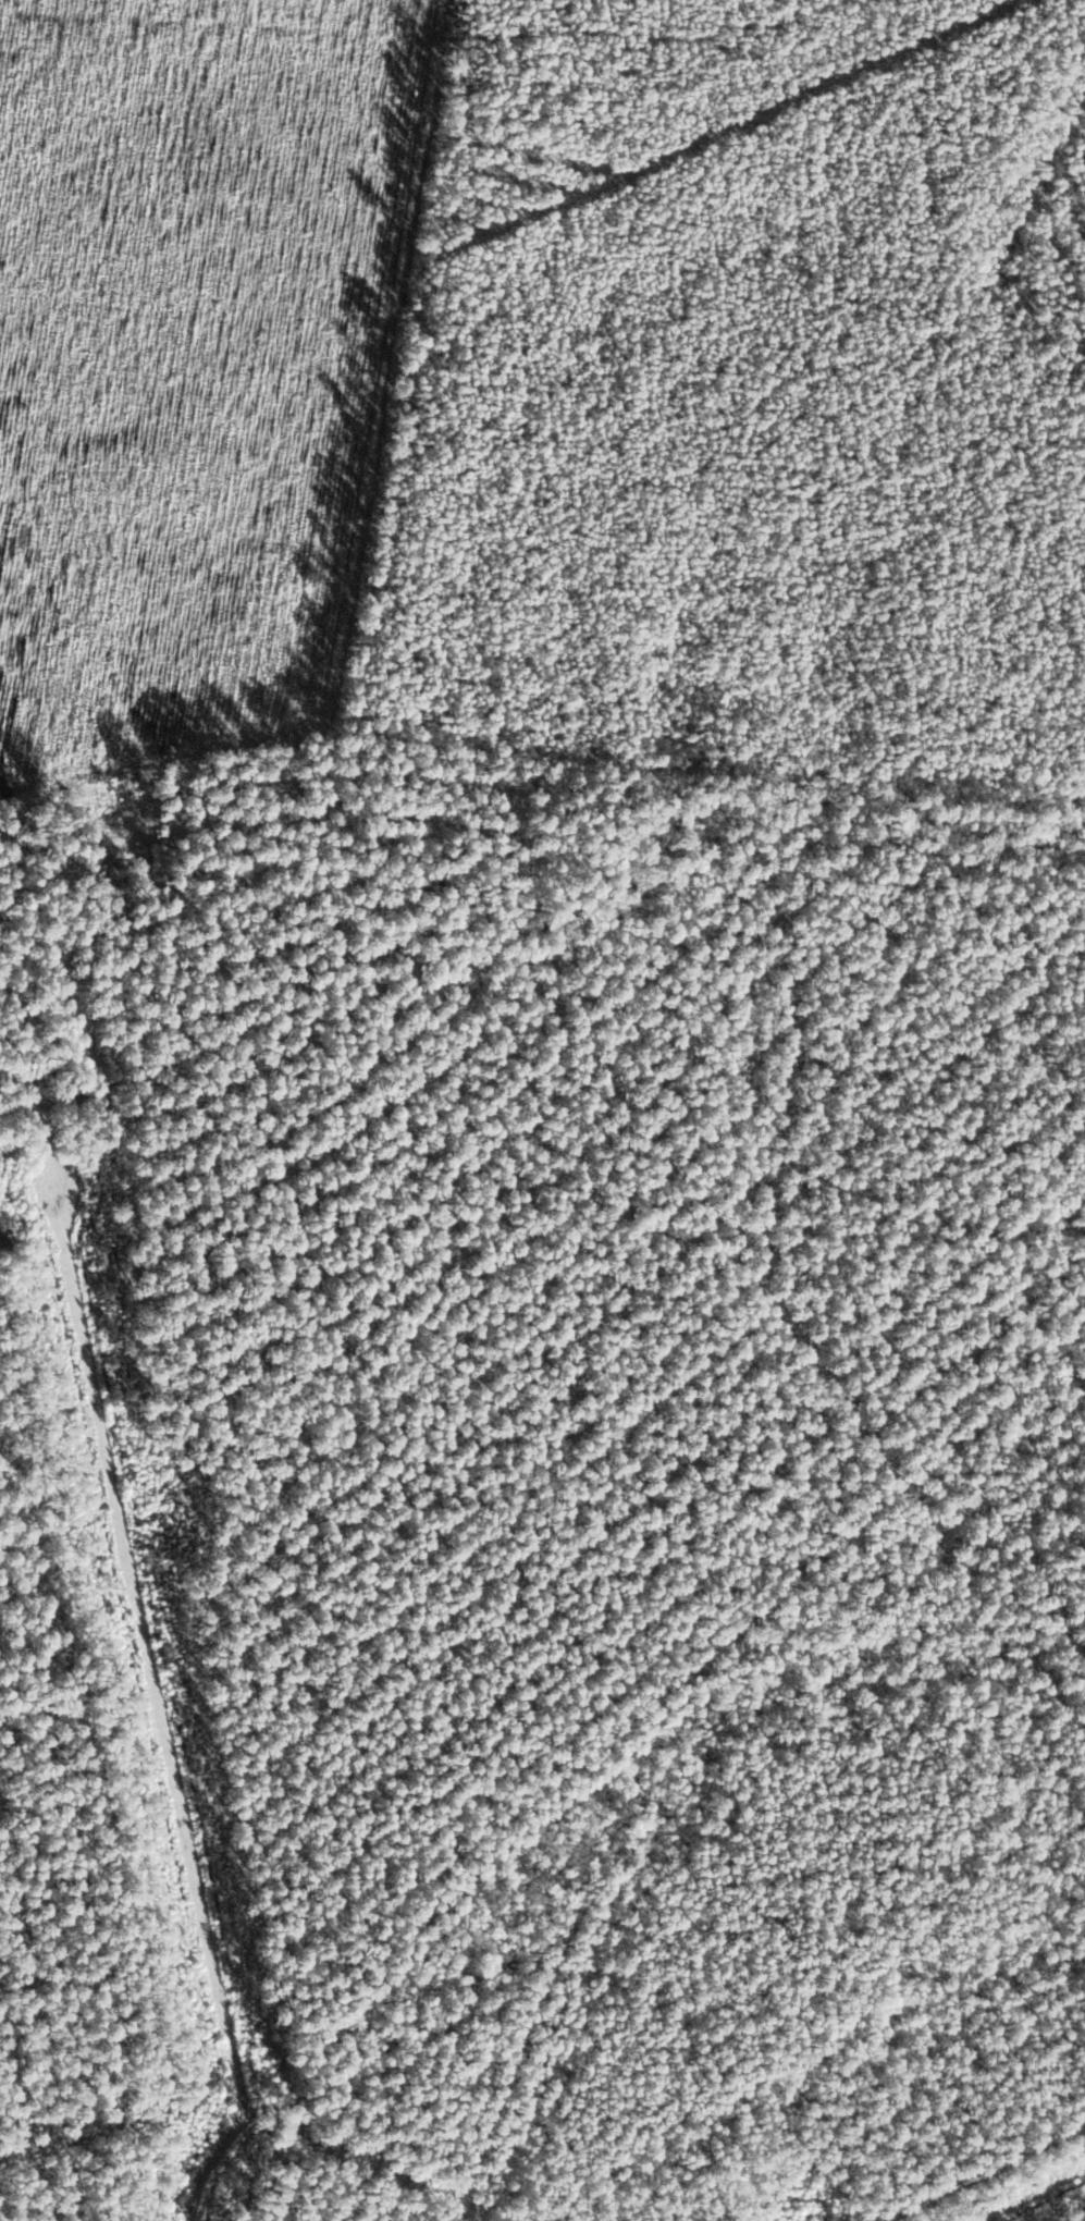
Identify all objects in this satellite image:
road: (969, 2172)

